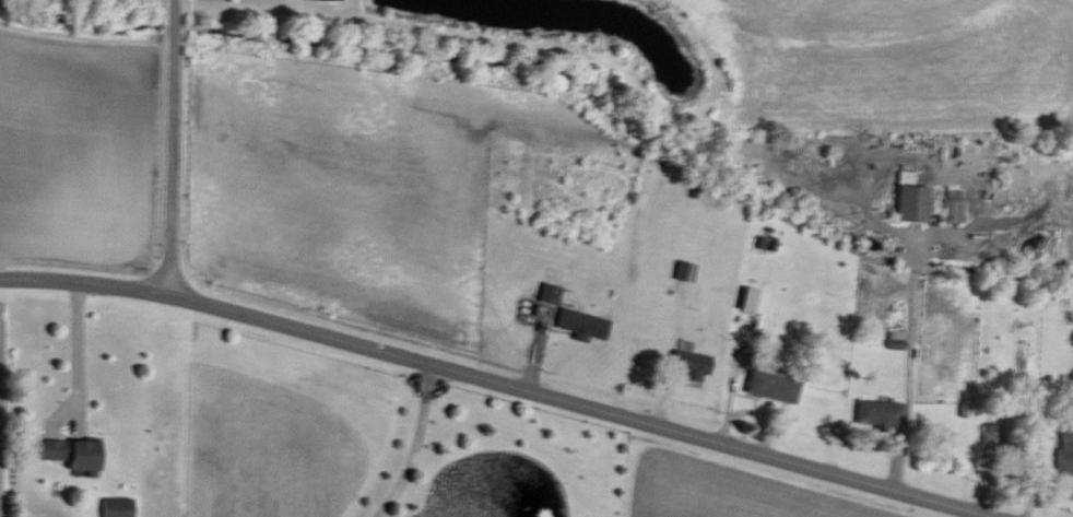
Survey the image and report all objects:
building: (335, 0)
road: (169, 149)
building: (910, 199)
building: (952, 205)
building: (684, 271)
building: (549, 293)
building: (752, 301)
building: (581, 324)
road: (78, 352)
building: (689, 364)
road: (503, 383)
building: (771, 386)
building: (877, 413)
road: (414, 445)
building: (1065, 453)
building: (69, 454)
building: (116, 506)

